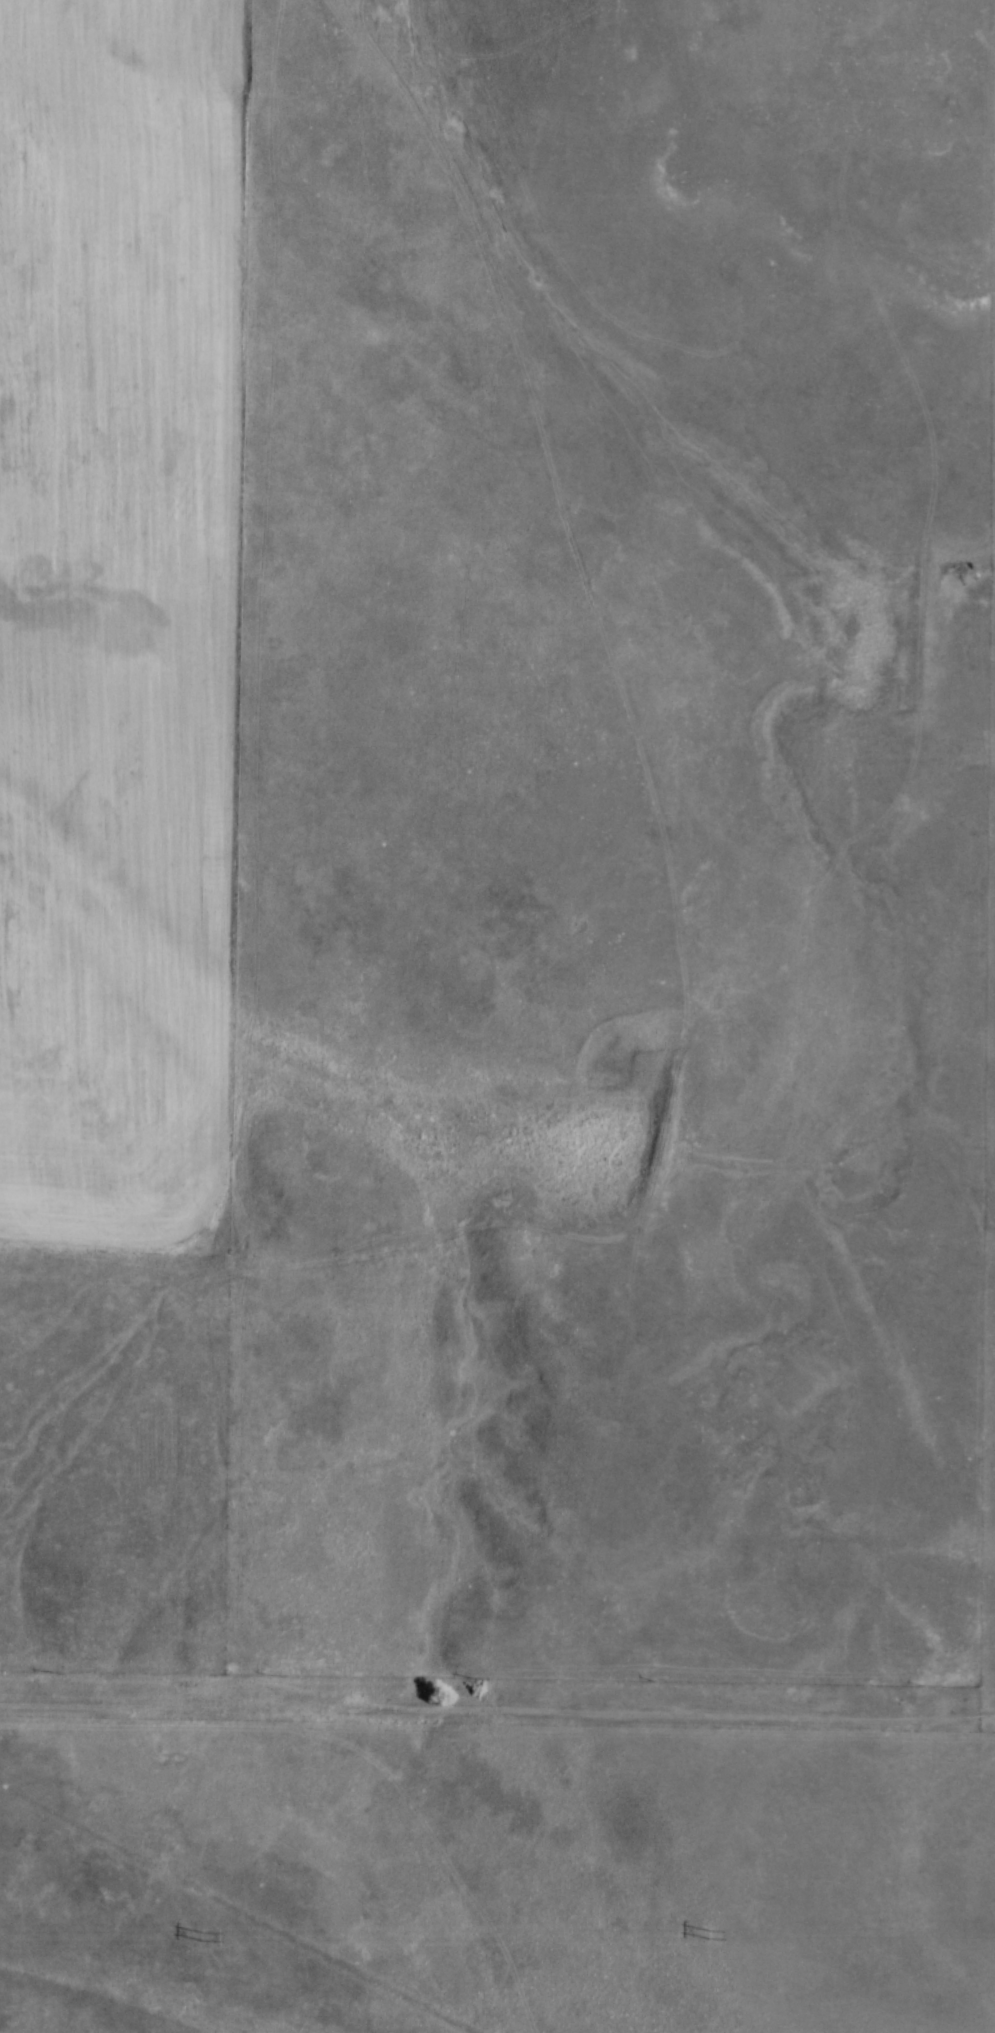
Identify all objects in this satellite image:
crop: (119, 612)
road: (497, 1711)
power tower: (712, 1935)
power tower: (204, 1937)

